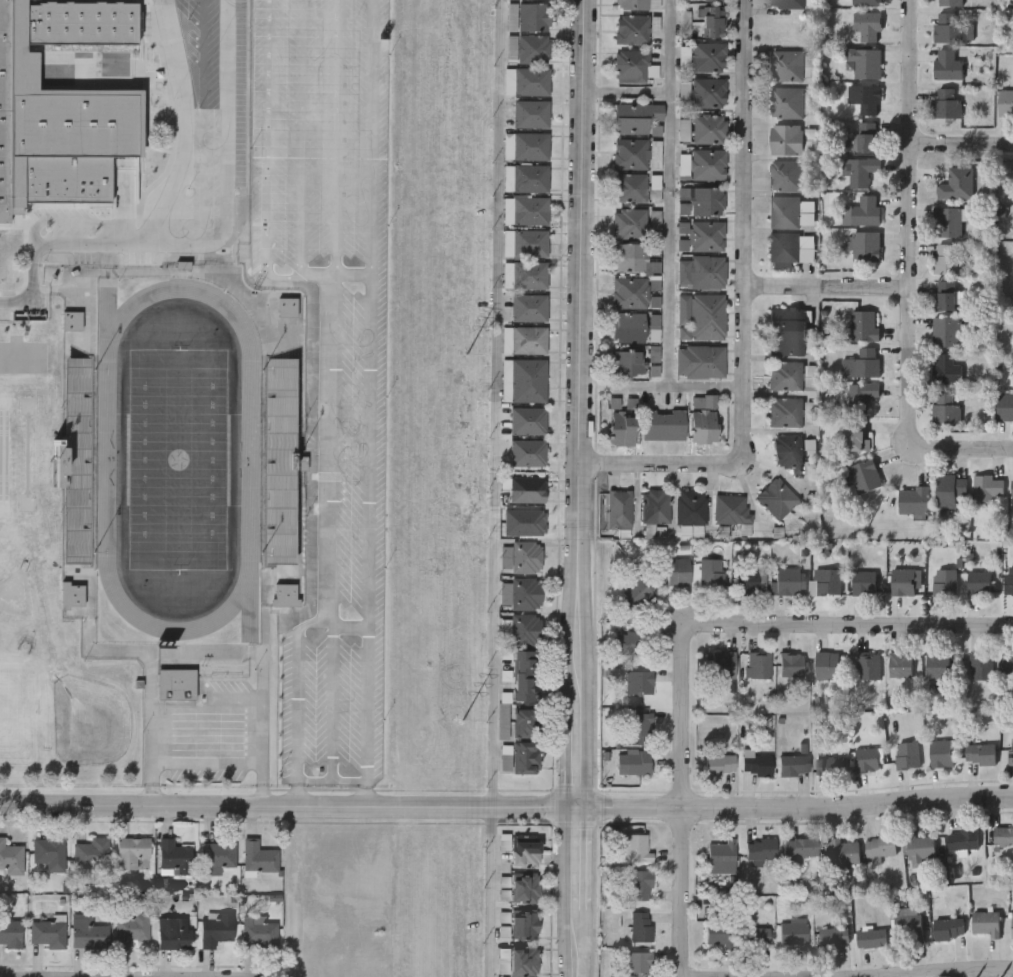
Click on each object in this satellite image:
building: (536, 0)
building: (708, 0)
building: (865, 2)
building: (948, 2)
building: (788, 3)
building: (638, 4)
road: (170, 12)
building: (534, 16)
building: (713, 21)
building: (866, 25)
building: (633, 28)
building: (951, 28)
road: (272, 46)
building: (534, 48)
building: (709, 56)
building: (863, 62)
building: (631, 65)
building: (787, 65)
building: (527, 80)
road: (626, 92)
building: (709, 92)
building: (864, 97)
building: (1005, 100)
building: (787, 102)
building: (946, 103)
building: (6, 111)
building: (531, 113)
building: (636, 116)
road: (203, 121)
road: (185, 124)
building: (709, 128)
building: (864, 136)
building: (787, 139)
road: (960, 141)
building: (526, 145)
building: (264, 146)
building: (631, 153)
road: (309, 154)
building: (709, 164)
building: (858, 169)
building: (787, 174)
building: (526, 177)
building: (946, 182)
building: (631, 187)
road: (670, 194)
building: (263, 197)
building: (706, 200)
building: (526, 210)
building: (865, 210)
building: (784, 211)
building: (947, 221)
road: (76, 222)
building: (630, 222)
road: (908, 222)
road: (745, 230)
building: (707, 235)
road: (212, 242)
road: (498, 242)
building: (526, 243)
building: (863, 245)
building: (785, 246)
building: (263, 249)
building: (630, 256)
building: (946, 258)
building: (701, 271)
building: (525, 275)
road: (826, 285)
building: (630, 292)
building: (946, 295)
building: (524, 307)
building: (287, 309)
building: (701, 316)
building: (72, 324)
building: (862, 325)
building: (630, 327)
building: (946, 330)
building: (788, 331)
building: (524, 339)
power tower: (465, 356)
building: (700, 360)
building: (627, 362)
building: (860, 363)
building: (946, 369)
building: (787, 375)
building: (524, 380)
road: (682, 388)
building: (860, 395)
road: (369, 403)
road: (581, 403)
building: (945, 407)
building: (1005, 407)
road: (339, 409)
building: (786, 412)
building: (705, 418)
building: (664, 424)
building: (622, 427)
building: (859, 439)
road: (961, 447)
building: (788, 450)
park: (177, 458)
building: (75, 461)
building: (277, 461)
road: (661, 462)
building: (863, 476)
building: (986, 488)
building: (1012, 488)
building: (527, 489)
building: (950, 489)
building: (777, 498)
building: (914, 501)
building: (656, 505)
building: (691, 506)
building: (619, 508)
building: (731, 509)
road: (558, 537)
building: (526, 556)
building: (678, 572)
building: (712, 573)
building: (827, 582)
building: (904, 582)
building: (749, 583)
building: (787, 583)
building: (864, 583)
building: (944, 583)
building: (978, 584)
building: (1008, 585)
building: (525, 593)
building: (72, 594)
building: (638, 595)
track: (233, 597)
track: (250, 599)
building: (524, 630)
road: (680, 636)
building: (627, 643)
building: (758, 665)
building: (791, 665)
building: (901, 665)
building: (723, 666)
building: (827, 666)
building: (981, 666)
building: (1007, 666)
building: (868, 667)
building: (938, 667)
building: (524, 674)
road: (492, 683)
building: (638, 683)
building: (176, 684)
building: (525, 722)
power tower: (459, 724)
building: (637, 728)
building: (1011, 751)
building: (941, 754)
building: (525, 755)
building: (980, 755)
building: (505, 756)
building: (906, 756)
building: (867, 760)
road: (206, 761)
building: (637, 763)
building: (755, 764)
building: (720, 765)
building: (794, 766)
building: (831, 766)
road: (261, 783)
road: (152, 784)
road: (506, 807)
building: (1003, 837)
building: (963, 840)
building: (881, 846)
building: (636, 848)
building: (799, 848)
building: (920, 849)
building: (760, 850)
building: (525, 851)
building: (845, 852)
building: (48, 853)
building: (132, 853)
building: (90, 854)
building: (218, 855)
building: (721, 857)
building: (10, 858)
building: (173, 858)
building: (262, 860)
building: (641, 886)
building: (524, 887)
road: (490, 892)
road: (577, 892)
building: (986, 923)
building: (524, 925)
building: (907, 925)
building: (1012, 926)
building: (640, 927)
building: (130, 929)
building: (215, 929)
building: (948, 929)
building: (257, 930)
building: (87, 932)
building: (10, 933)
building: (46, 933)
building: (172, 934)
building: (719, 934)
building: (792, 934)
building: (758, 936)
building: (833, 937)
building: (872, 938)
building: (524, 960)
building: (637, 964)
road: (847, 966)
road: (127, 972)

